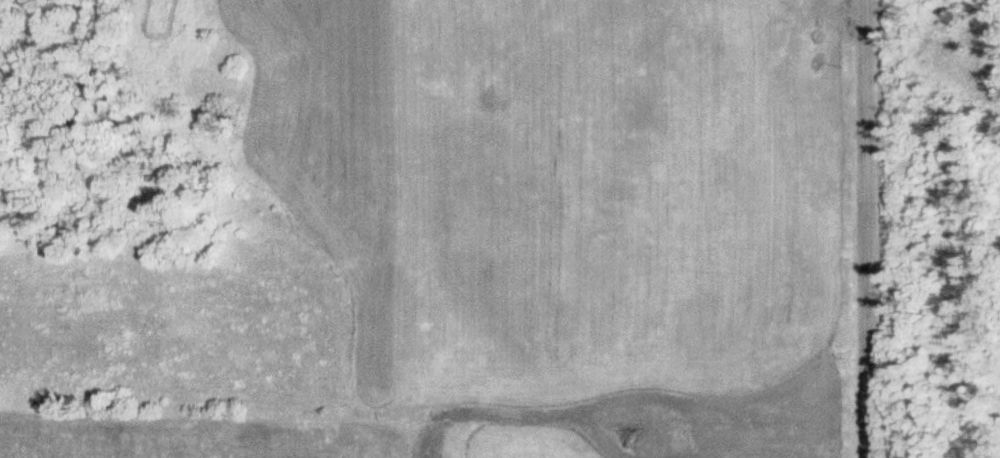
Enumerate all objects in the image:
road: (864, 229)

